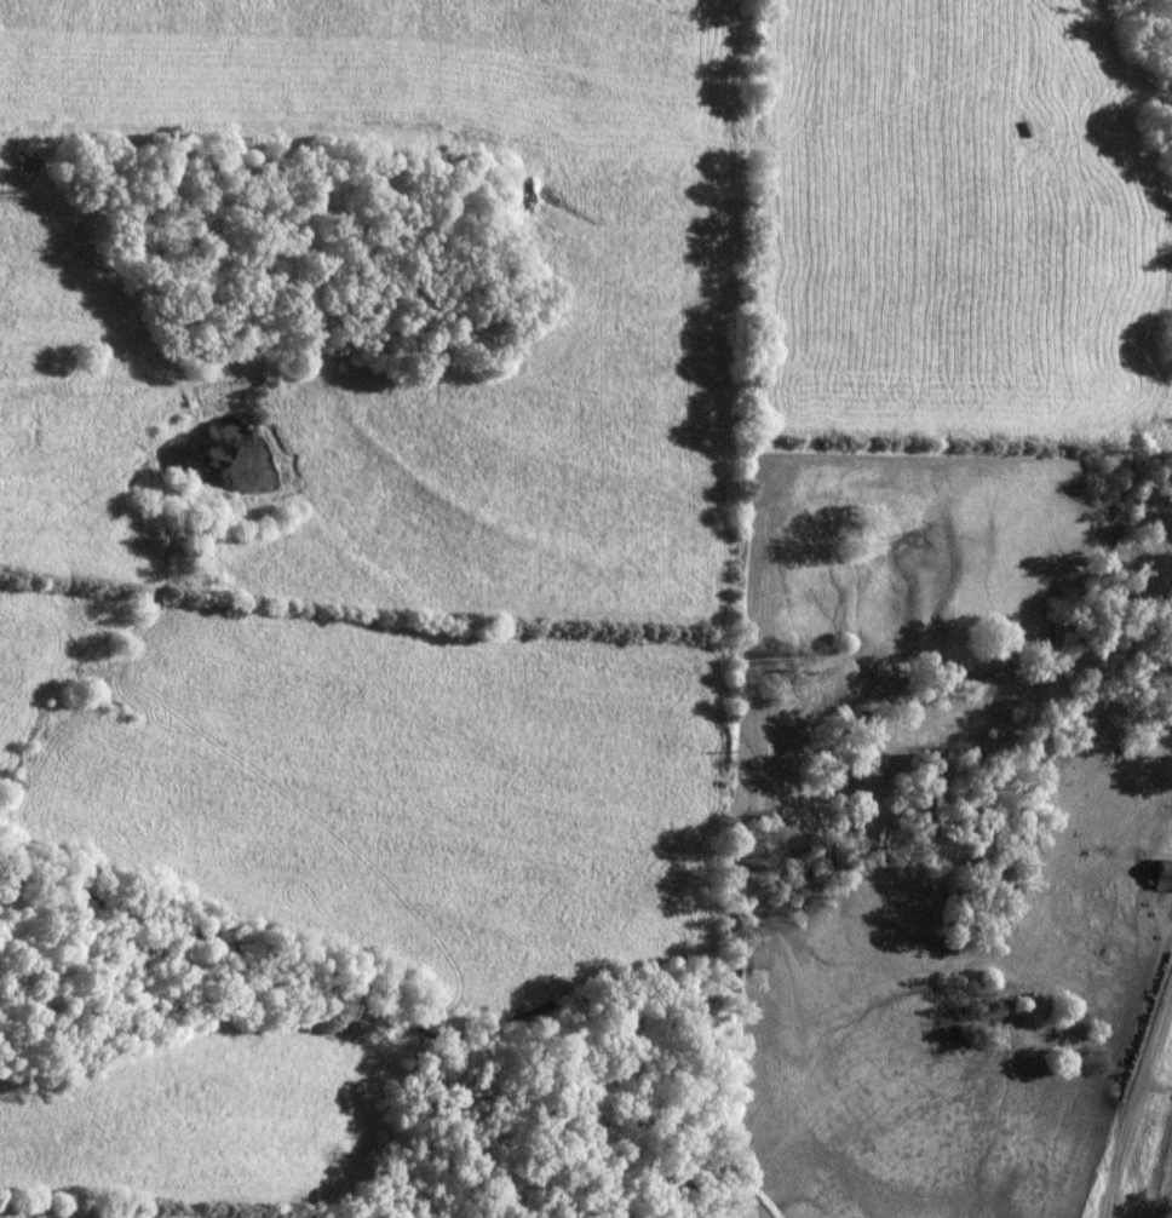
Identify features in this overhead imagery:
building: (1159, 875)

